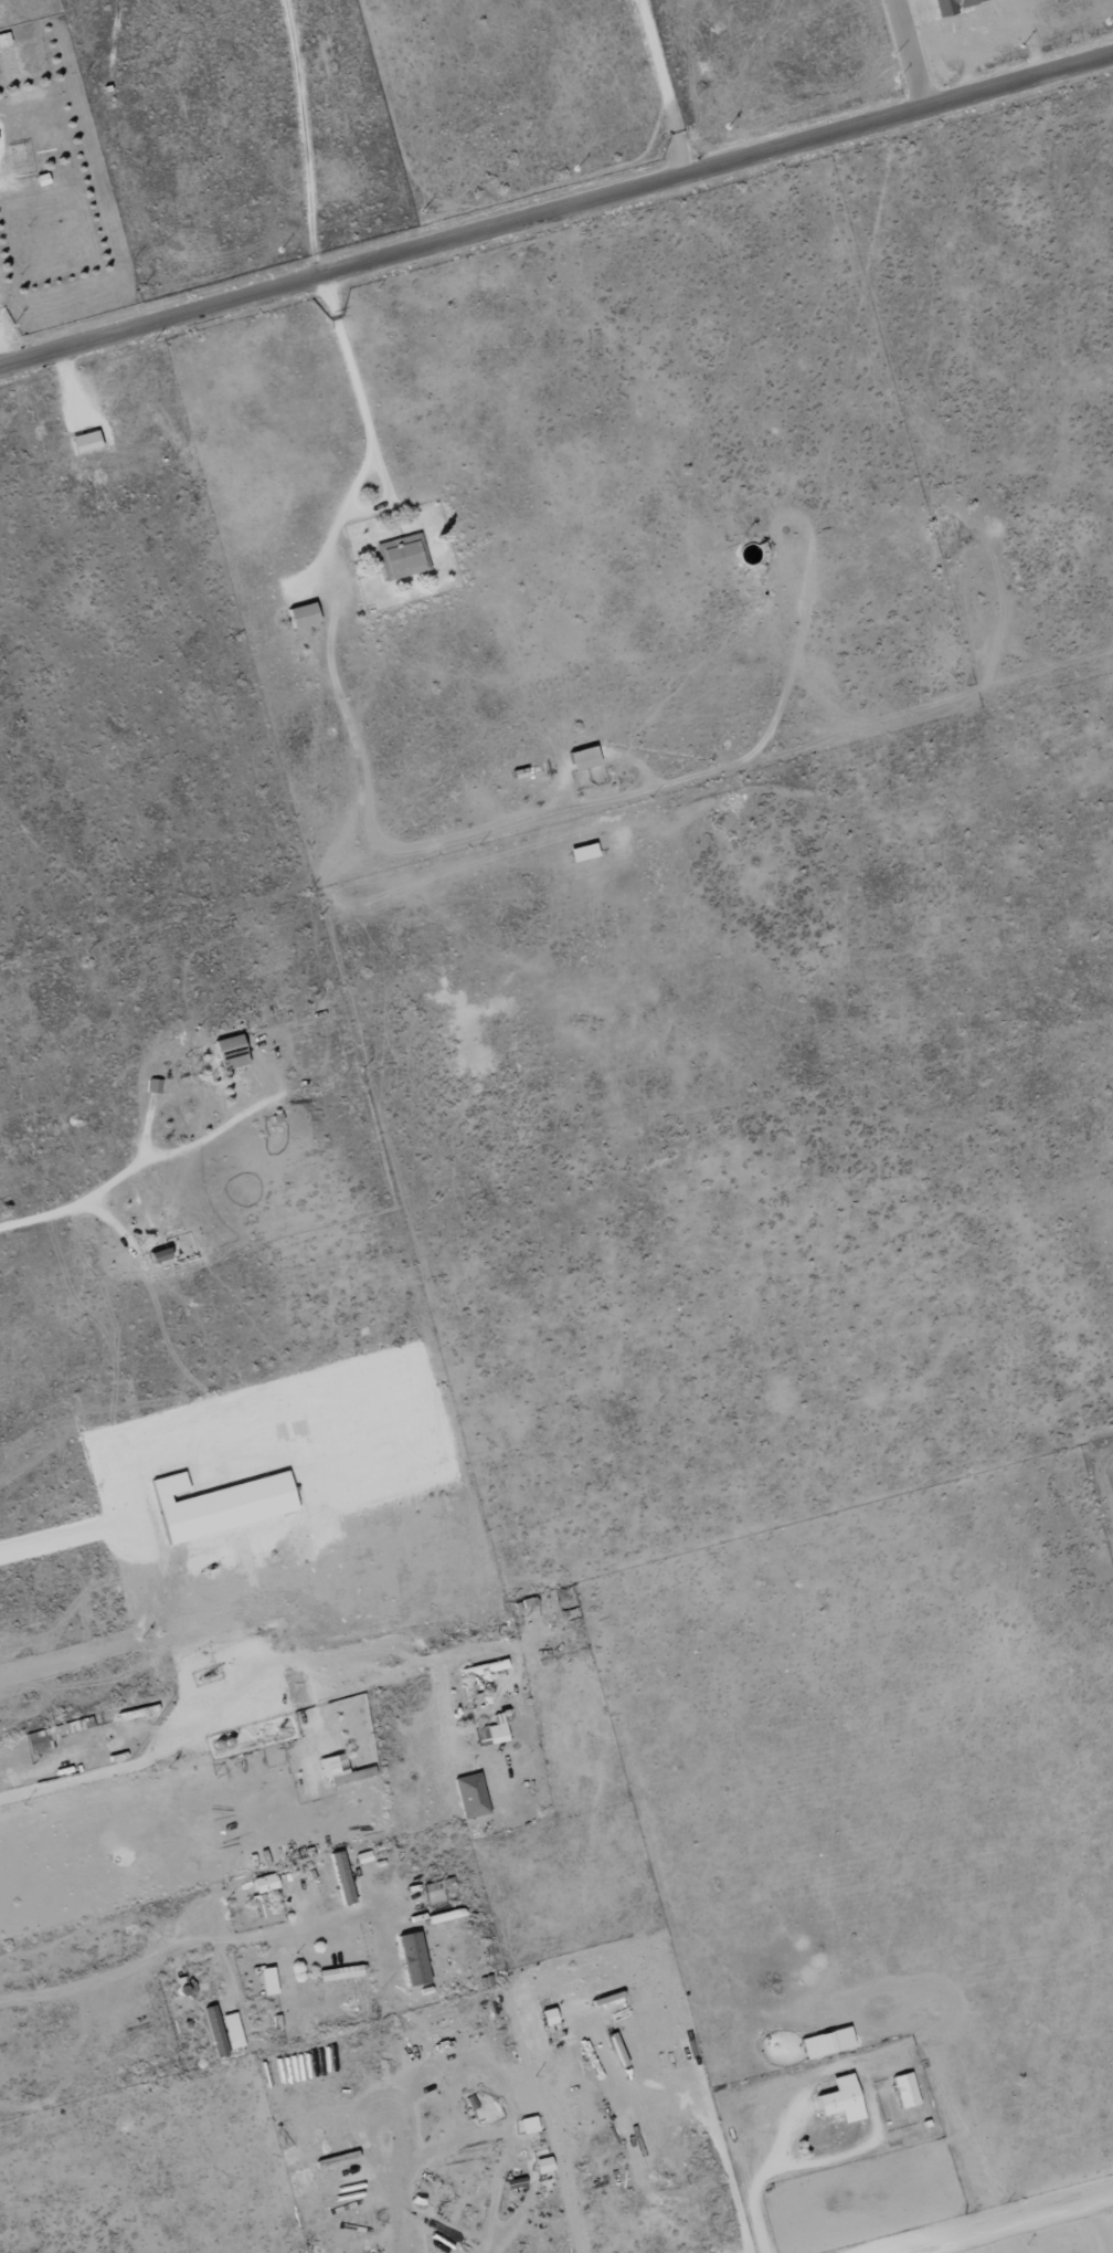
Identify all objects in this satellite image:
building: (952, 6)
road: (910, 55)
building: (9, 56)
road: (664, 87)
building: (21, 159)
road: (556, 212)
road: (368, 431)
building: (87, 441)
building: (402, 556)
building: (305, 613)
building: (585, 757)
building: (584, 851)
building: (233, 1050)
building: (157, 1084)
road: (63, 1210)
building: (161, 1252)
building: (222, 1503)
building: (486, 1666)
building: (494, 1730)
road: (171, 1735)
building: (46, 1737)
building: (342, 1769)
building: (473, 1793)
building: (266, 1882)
road: (171, 1955)
building: (414, 1957)
building: (341, 1971)
building: (269, 1980)
building: (550, 2014)
building: (233, 2029)
building: (828, 2041)
building: (907, 2088)
building: (844, 2098)
building: (530, 2124)
road: (723, 2161)
building: (544, 2165)
building: (517, 2181)
road: (1013, 2225)
road: (490, 2231)

